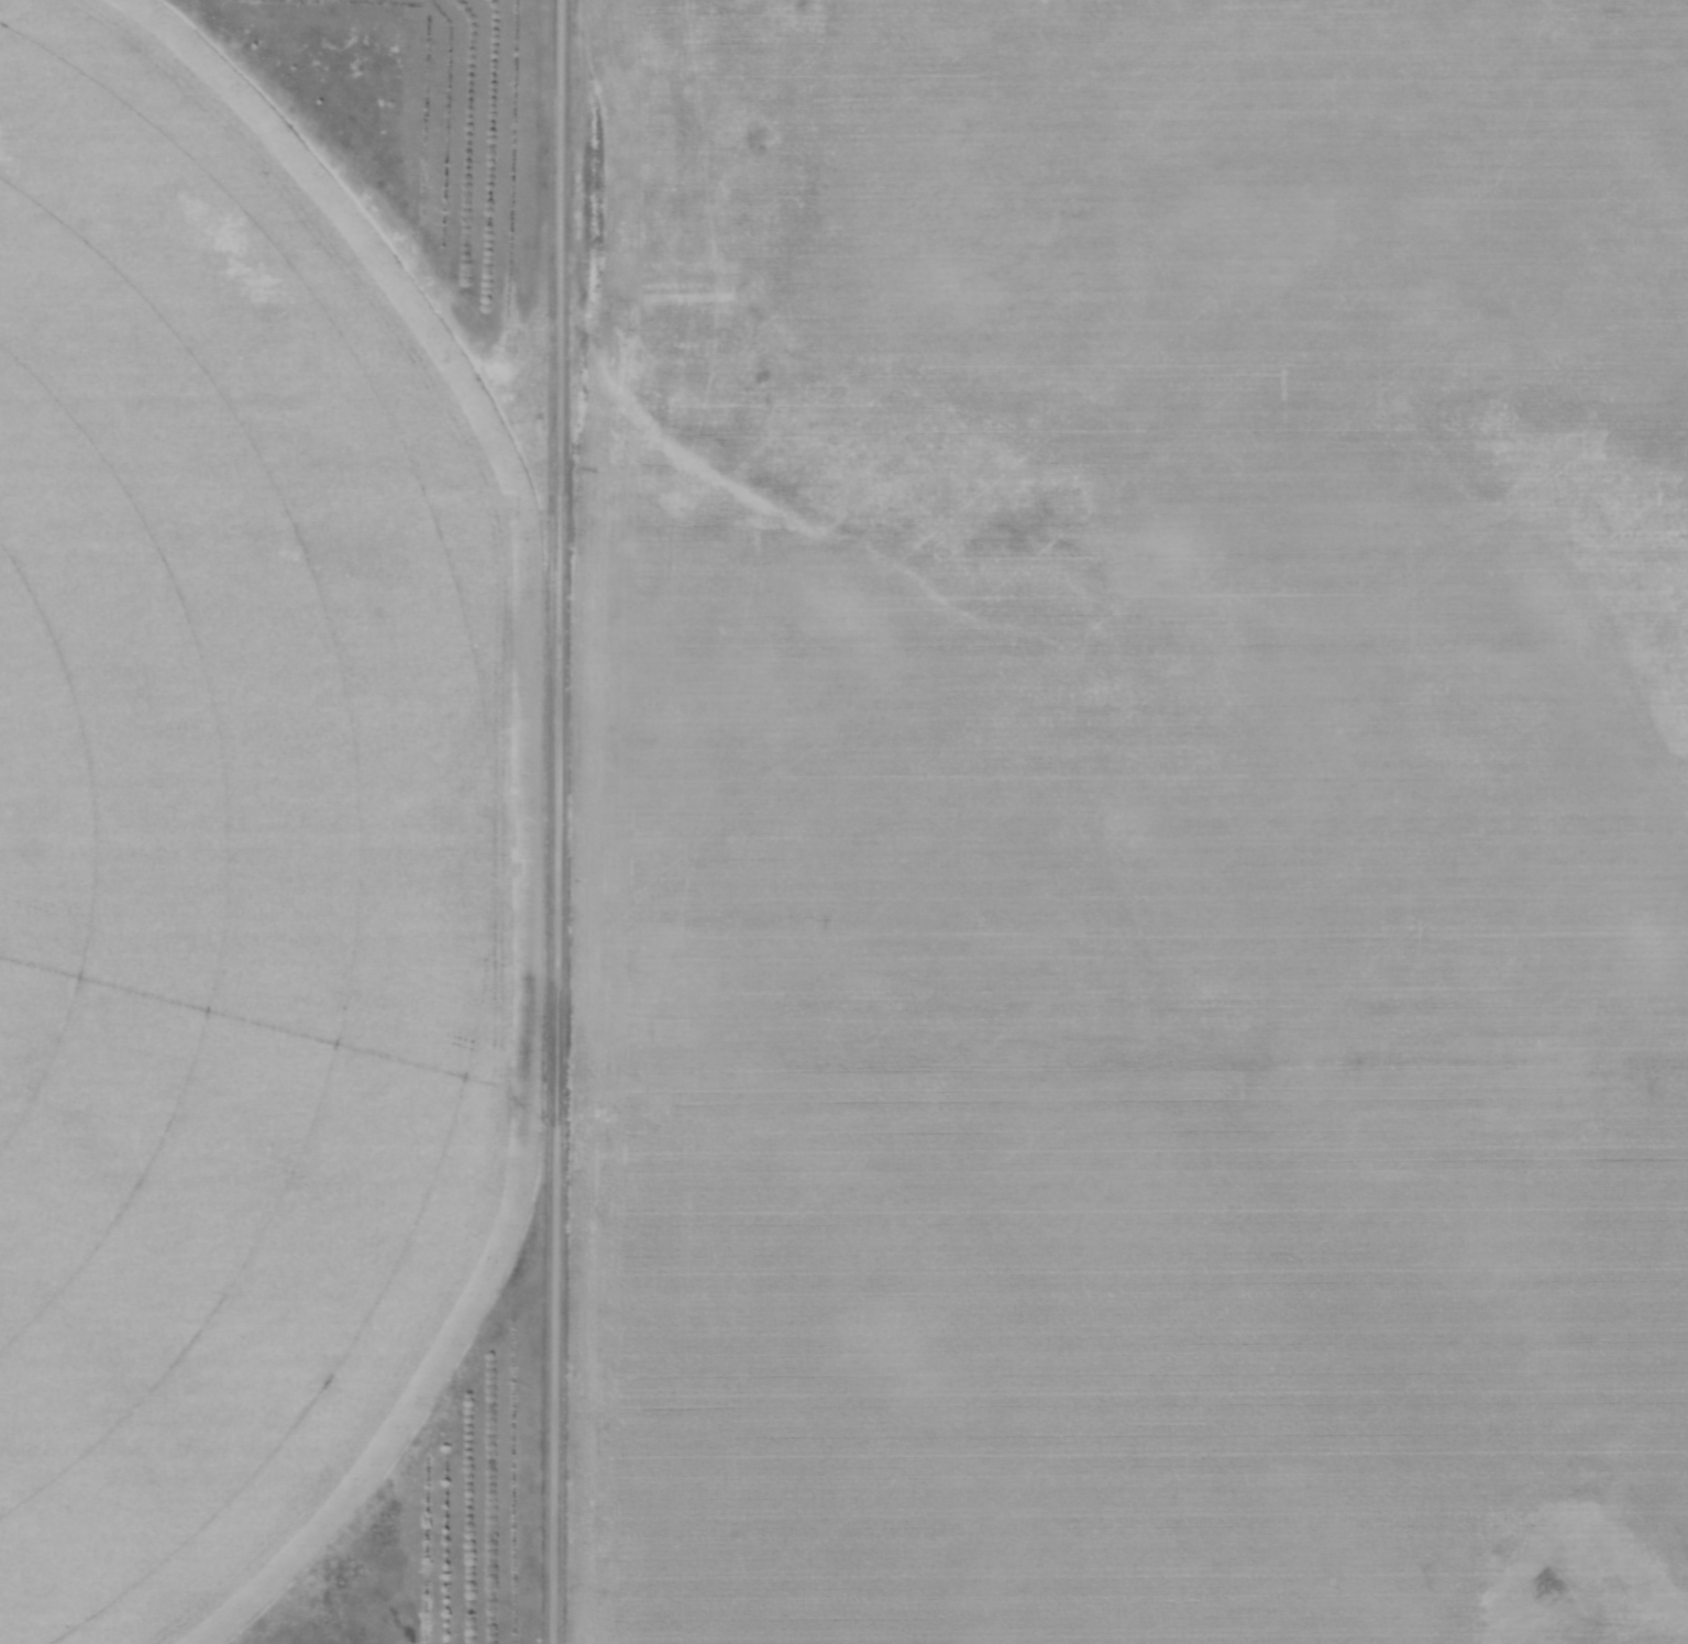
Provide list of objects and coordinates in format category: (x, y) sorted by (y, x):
road: (555, 821)

